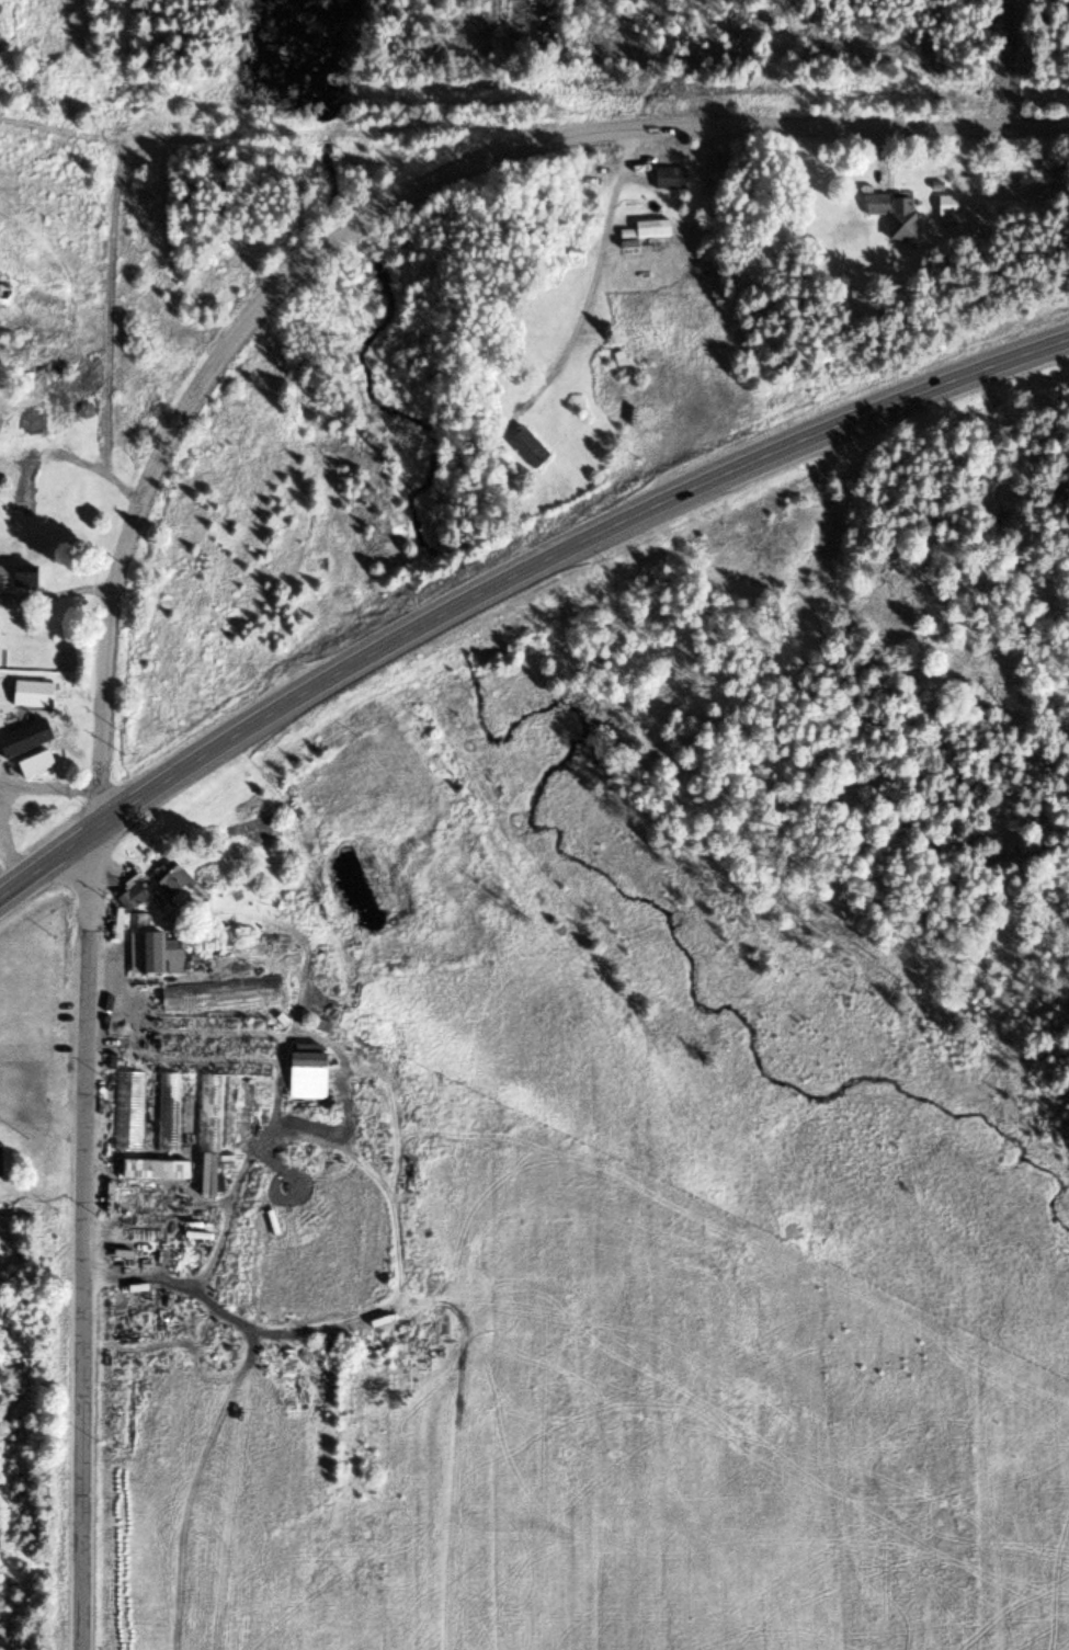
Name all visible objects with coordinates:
road: (799, 128)
road: (316, 134)
building: (668, 181)
building: (889, 216)
building: (650, 231)
road: (591, 274)
road: (106, 343)
road: (219, 362)
building: (528, 450)
building: (26, 489)
road: (513, 576)
building: (23, 582)
building: (34, 697)
building: (23, 742)
building: (38, 769)
road: (100, 775)
building: (180, 886)
building: (140, 926)
building: (177, 959)
building: (223, 995)
building: (315, 1063)
building: (127, 1113)
building: (167, 1114)
building: (208, 1130)
building: (3, 1165)
road: (87, 1238)

